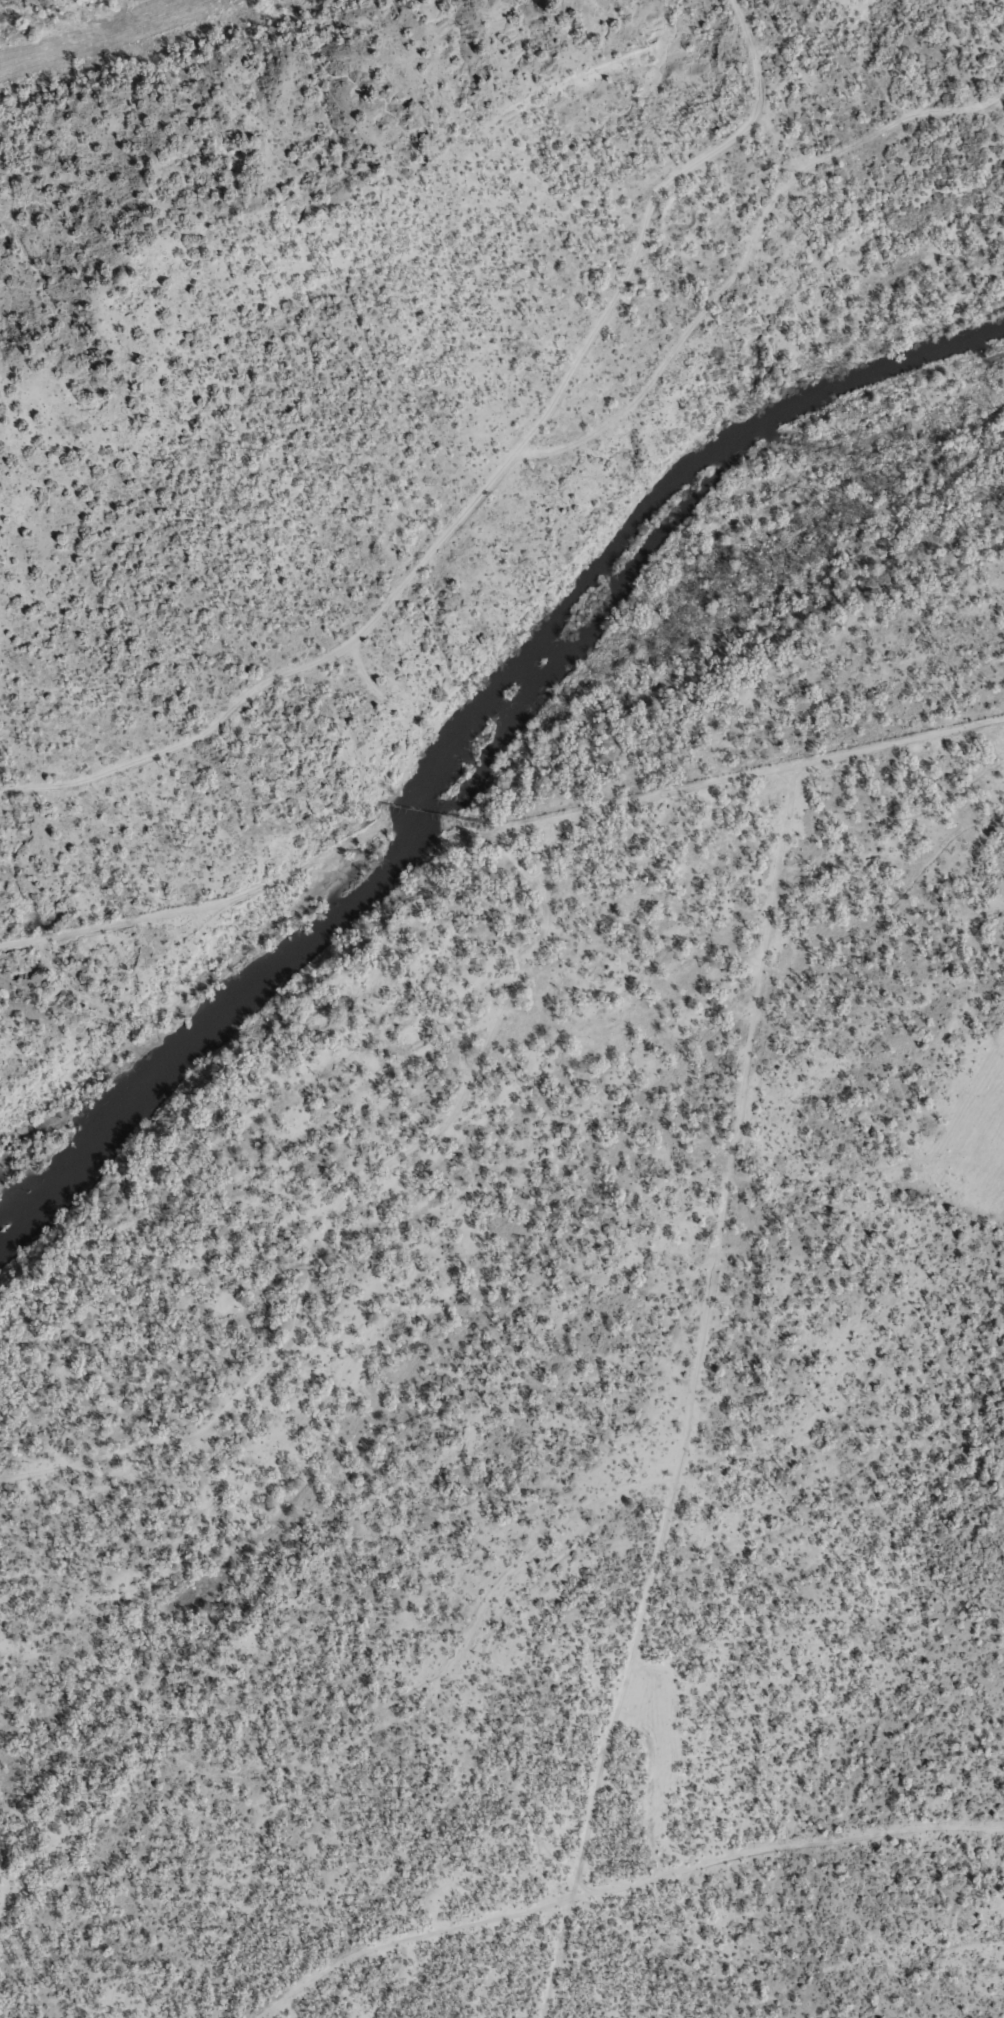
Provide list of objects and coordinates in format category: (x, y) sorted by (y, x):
river: (459, 732)
road: (1002, 2015)

